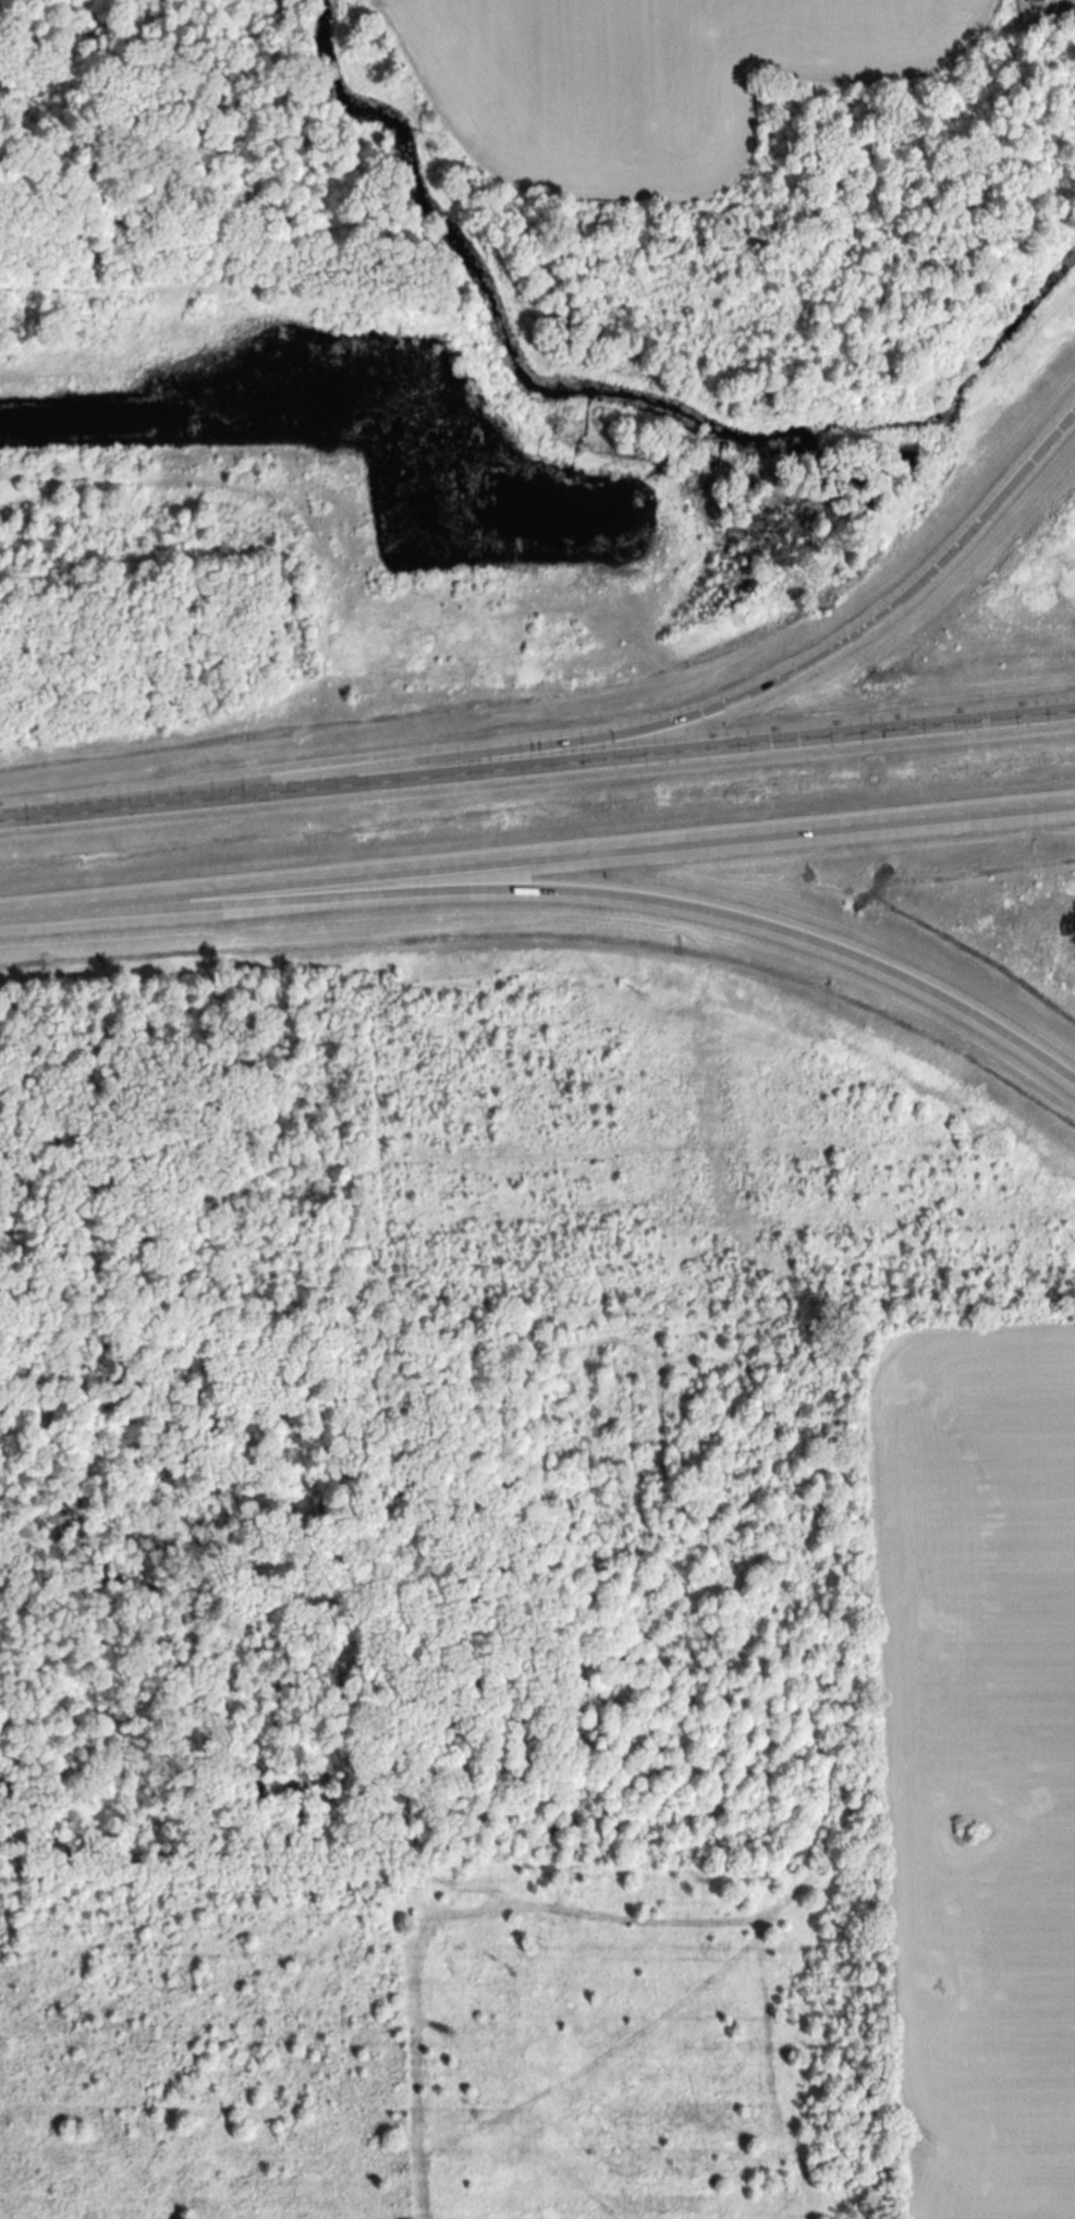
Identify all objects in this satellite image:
river: (602, 414)
road: (724, 703)
road: (537, 761)
road: (537, 857)
road: (559, 891)

